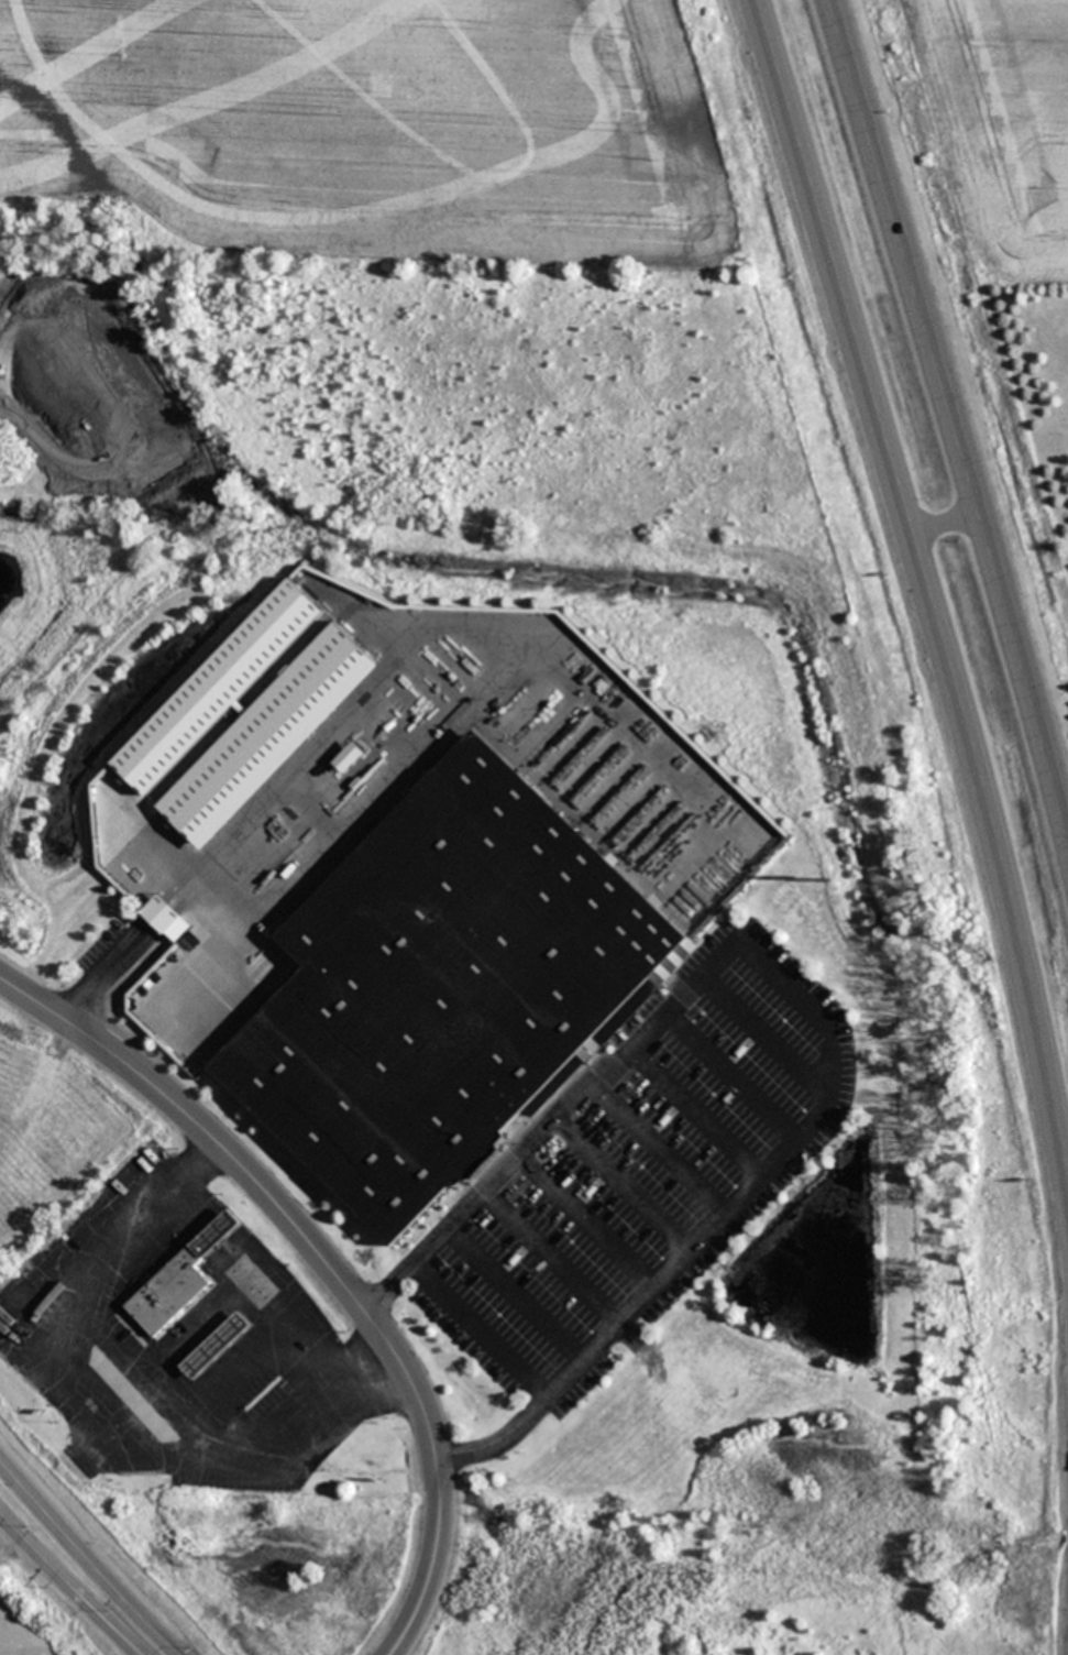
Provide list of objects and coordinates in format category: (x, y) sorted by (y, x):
crop: (376, 128)
building: (69, 313)
building: (311, 374)
building: (544, 384)
building: (450, 387)
building: (641, 391)
road: (708, 393)
road: (951, 408)
parking lot: (254, 413)
road: (111, 417)
road: (926, 582)
building: (269, 736)
building: (162, 916)
building: (438, 990)
road: (814, 1012)
parking lot: (640, 1169)
road: (324, 1264)
building: (163, 1296)
building: (210, 1348)
gas station: (210, 1348)
road: (86, 1559)
road: (70, 1581)
crop: (41, 1614)

